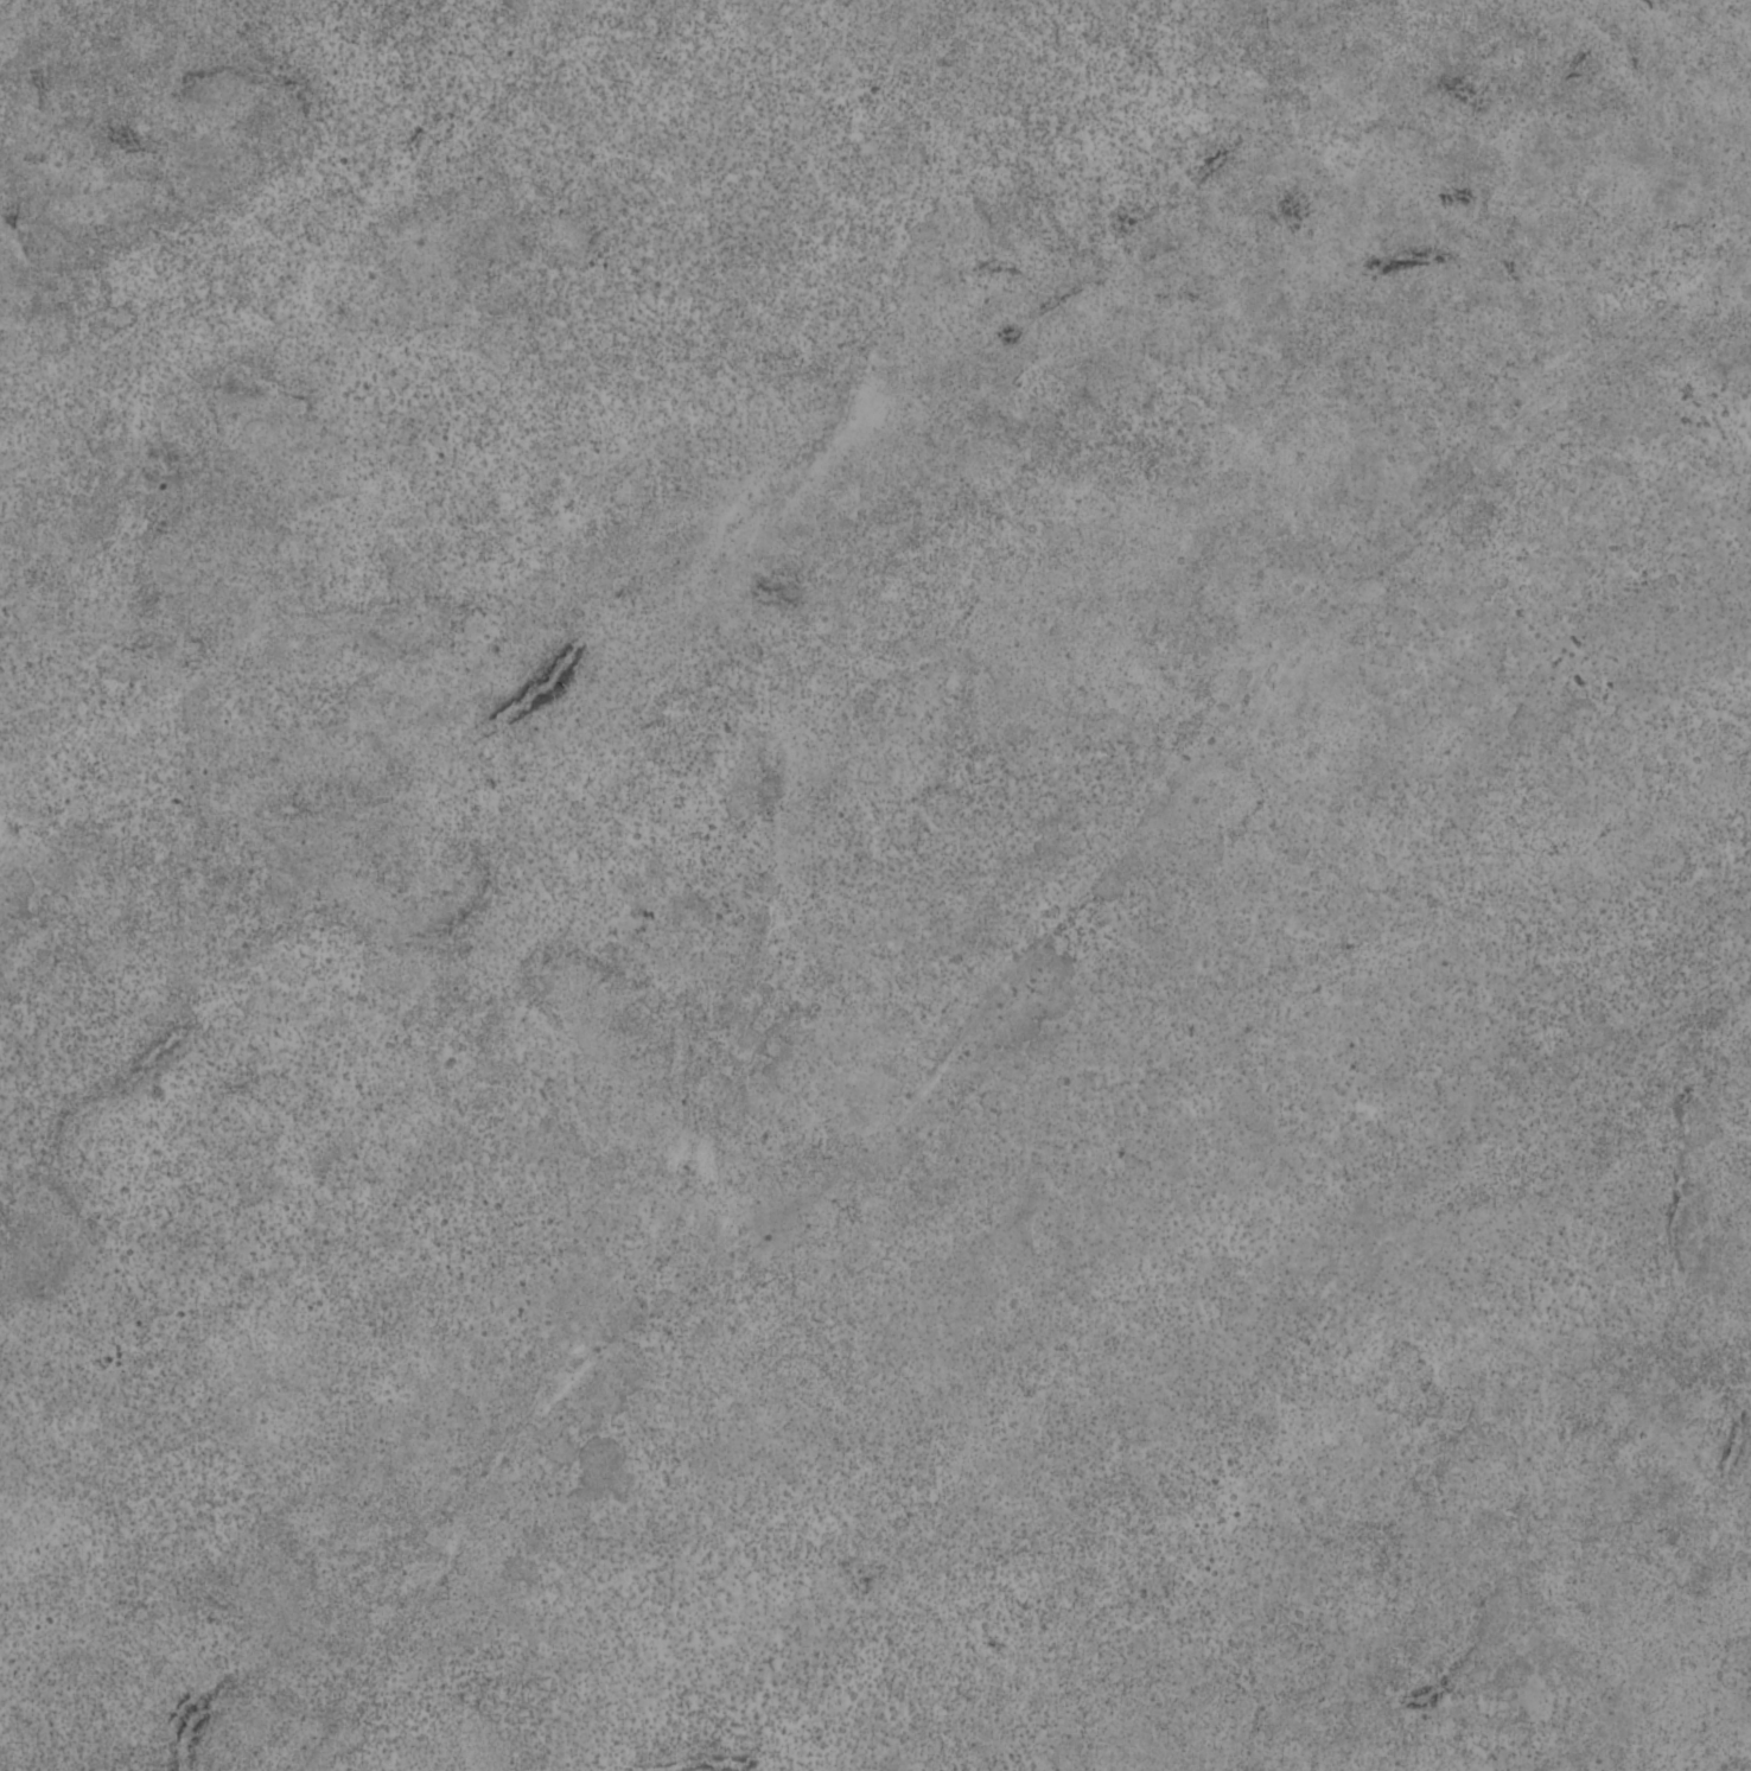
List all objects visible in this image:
road: (1001, 998)

